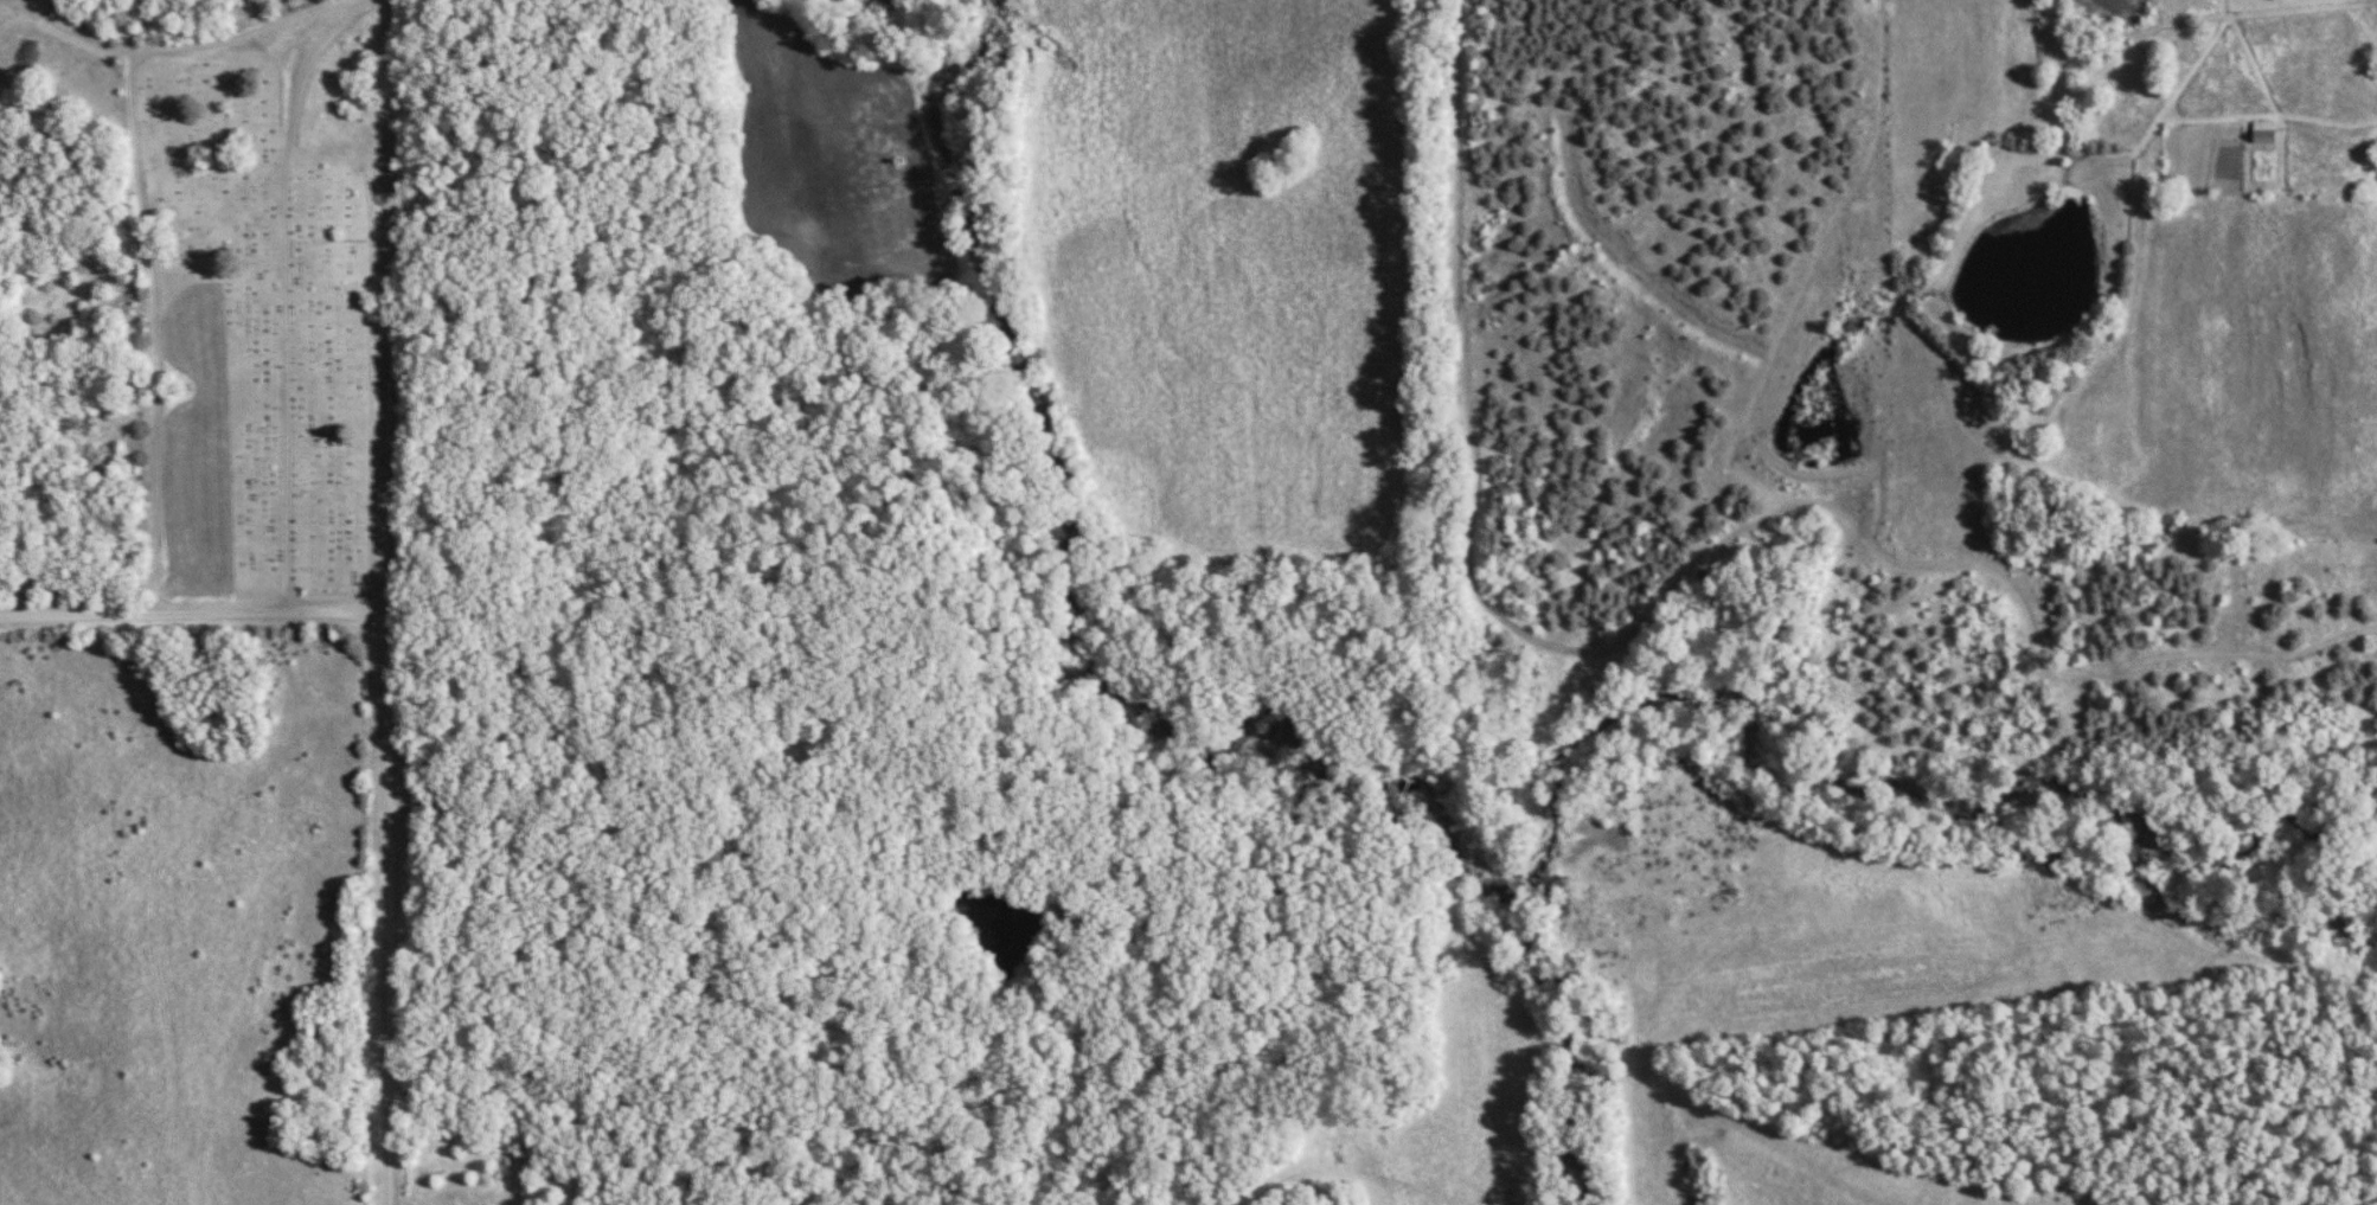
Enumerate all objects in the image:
building: (2264, 132)
road: (145, 218)
park: (277, 293)
road: (385, 602)
road: (192, 609)

